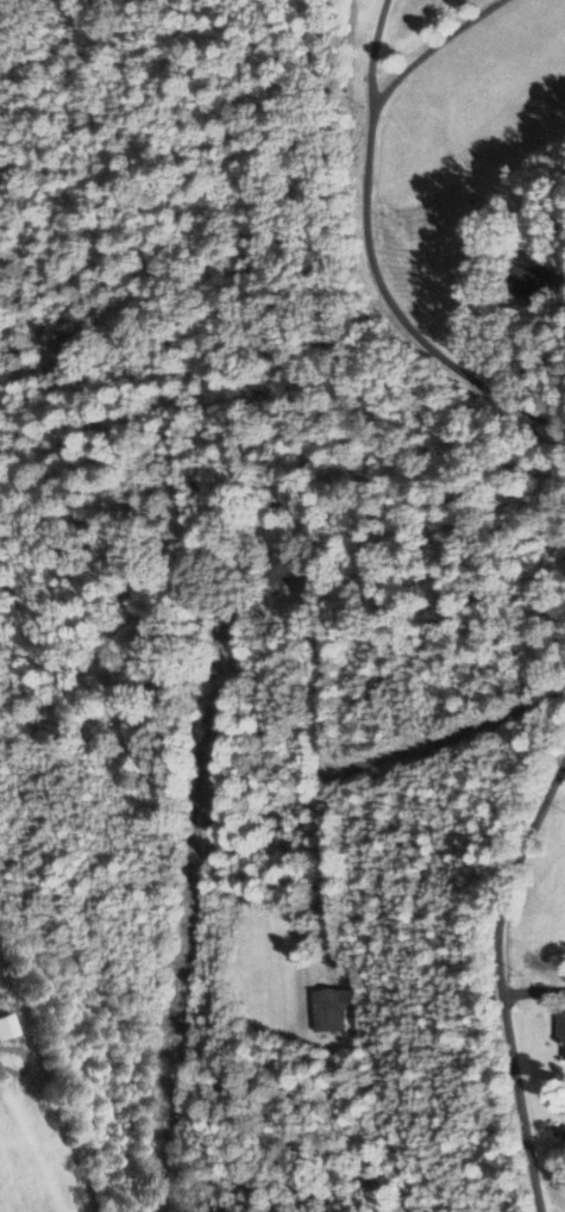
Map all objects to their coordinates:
road: (428, 46)
road: (369, 51)
building: (525, 282)
road: (394, 310)
road: (535, 343)
building: (272, 574)
road: (564, 758)
road: (350, 766)
road: (497, 976)
road: (532, 991)
building: (328, 1008)
building: (6, 1026)
building: (560, 1036)

